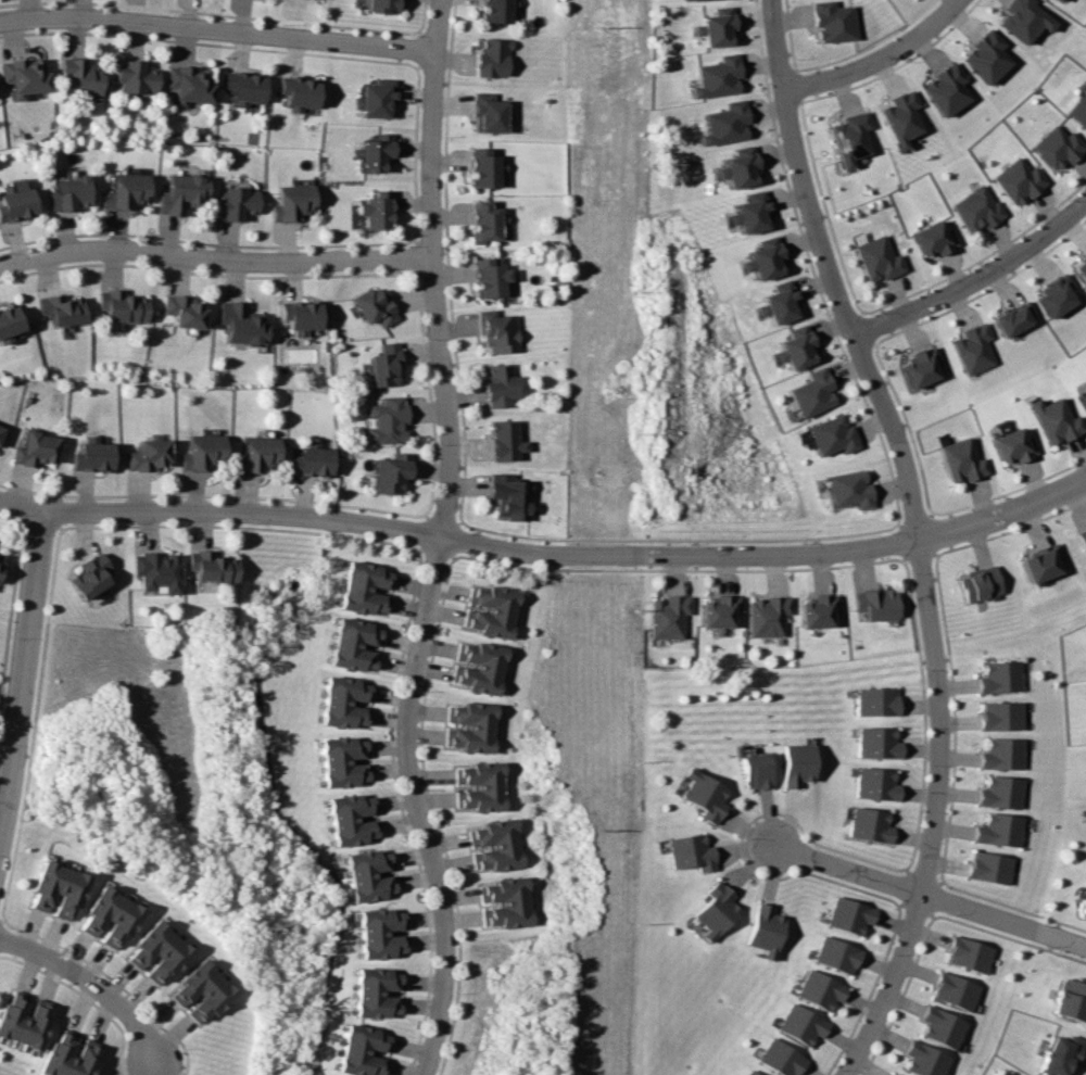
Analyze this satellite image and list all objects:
building: (683, 0)
building: (1060, 0)
building: (380, 5)
building: (498, 10)
building: (1023, 20)
building: (832, 21)
building: (714, 27)
road: (218, 33)
road: (872, 53)
building: (984, 56)
building: (492, 58)
building: (24, 76)
building: (79, 76)
building: (135, 76)
building: (716, 76)
building: (188, 84)
building: (242, 87)
building: (944, 89)
building: (295, 92)
road: (780, 94)
building: (374, 99)
building: (1078, 109)
building: (489, 113)
building: (898, 118)
building: (723, 123)
building: (847, 138)
building: (1057, 147)
building: (371, 152)
building: (736, 167)
building: (483, 168)
building: (1019, 180)
building: (126, 190)
building: (71, 193)
building: (180, 193)
building: (17, 201)
building: (290, 202)
building: (235, 203)
building: (374, 210)
building: (976, 210)
building: (749, 213)
building: (485, 222)
building: (932, 239)
road: (415, 256)
building: (876, 258)
road: (212, 260)
building: (1083, 269)
building: (489, 277)
road: (976, 279)
building: (1059, 294)
building: (776, 303)
building: (122, 306)
building: (372, 306)
building: (62, 308)
building: (182, 311)
building: (299, 316)
building: (1016, 318)
building: (240, 322)
building: (9, 324)
building: (496, 331)
building: (794, 347)
building: (975, 349)
building: (383, 364)
road: (868, 364)
building: (921, 367)
building: (498, 384)
building: (811, 392)
road: (429, 394)
building: (1083, 399)
building: (386, 420)
building: (1055, 420)
building: (1, 430)
building: (832, 435)
building: (504, 440)
building: (1012, 446)
building: (36, 448)
building: (202, 451)
building: (256, 454)
building: (93, 455)
building: (149, 455)
building: (311, 459)
building: (961, 460)
building: (389, 471)
building: (849, 489)
building: (509, 495)
road: (22, 508)
road: (1005, 516)
road: (41, 522)
road: (446, 522)
road: (243, 527)
road: (427, 530)
building: (1083, 537)
road: (441, 540)
road: (455, 542)
road: (482, 544)
road: (434, 549)
building: (1, 558)
building: (1040, 562)
building: (210, 566)
building: (156, 570)
building: (369, 570)
road: (674, 571)
building: (89, 576)
building: (367, 581)
building: (980, 584)
building: (496, 593)
building: (364, 594)
building: (876, 603)
building: (494, 604)
building: (362, 606)
road: (11, 607)
building: (718, 610)
building: (817, 610)
building: (668, 616)
building: (767, 616)
building: (492, 618)
building: (490, 629)
park: (1, 635)
building: (353, 644)
building: (488, 649)
building: (484, 661)
building: (482, 674)
road: (23, 676)
building: (999, 676)
building: (480, 685)
building: (874, 700)
building: (343, 703)
building: (476, 708)
building: (1000, 716)
building: (476, 720)
road: (33, 723)
building: (473, 733)
building: (473, 744)
building: (1001, 754)
building: (342, 761)
building: (796, 763)
building: (482, 769)
building: (754, 770)
building: (483, 781)
building: (874, 784)
building: (1000, 792)
building: (484, 794)
building: (702, 795)
building: (485, 805)
road: (273, 806)
road: (404, 813)
road: (437, 815)
road: (936, 815)
building: (350, 819)
building: (495, 825)
building: (868, 825)
building: (998, 830)
building: (497, 836)
building: (500, 849)
building: (687, 852)
building: (502, 861)
building: (988, 867)
road: (844, 869)
building: (368, 874)
building: (40, 882)
building: (505, 884)
building: (50, 886)
building: (62, 890)
building: (74, 894)
building: (506, 895)
building: (94, 907)
building: (1084, 908)
building: (508, 909)
building: (712, 910)
building: (103, 913)
building: (846, 915)
building: (114, 919)
road: (1, 920)
building: (510, 920)
road: (1001, 920)
building: (124, 924)
building: (762, 929)
building: (379, 931)
building: (143, 940)
building: (152, 948)
building: (833, 954)
building: (967, 954)
building: (161, 956)
building: (171, 962)
building: (188, 978)
road: (113, 979)
road: (93, 985)
building: (195, 986)
building: (817, 989)
building: (376, 991)
building: (954, 991)
building: (204, 995)
road: (84, 998)
building: (1070, 999)
building: (212, 1003)
building: (8, 1012)
building: (16, 1019)
building: (28, 1022)
building: (798, 1024)
building: (38, 1026)
building: (940, 1027)
building: (362, 1050)
building: (54, 1052)
building: (1060, 1054)
building: (64, 1055)
building: (77, 1058)
building: (778, 1058)
building: (88, 1060)
building: (923, 1060)
building: (748, 1073)
building: (893, 1074)

